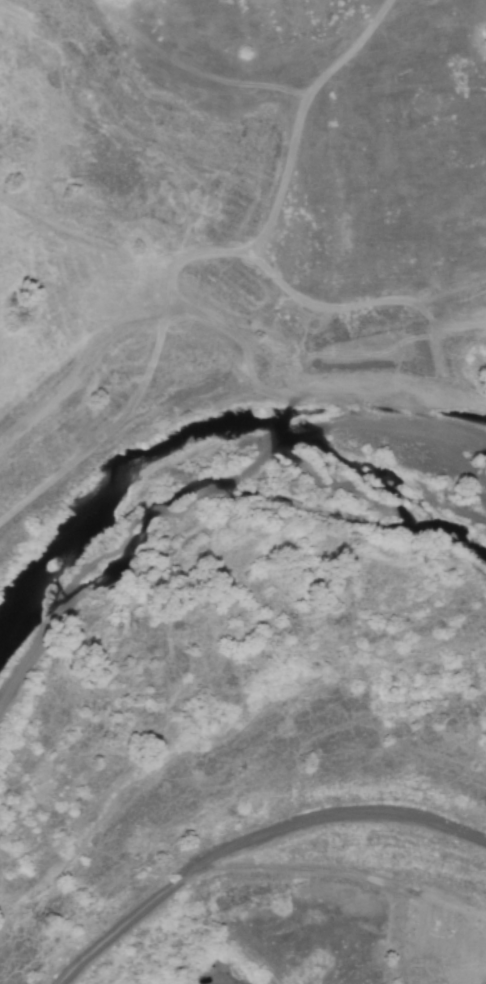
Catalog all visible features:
road: (385, 44)
river: (173, 464)

